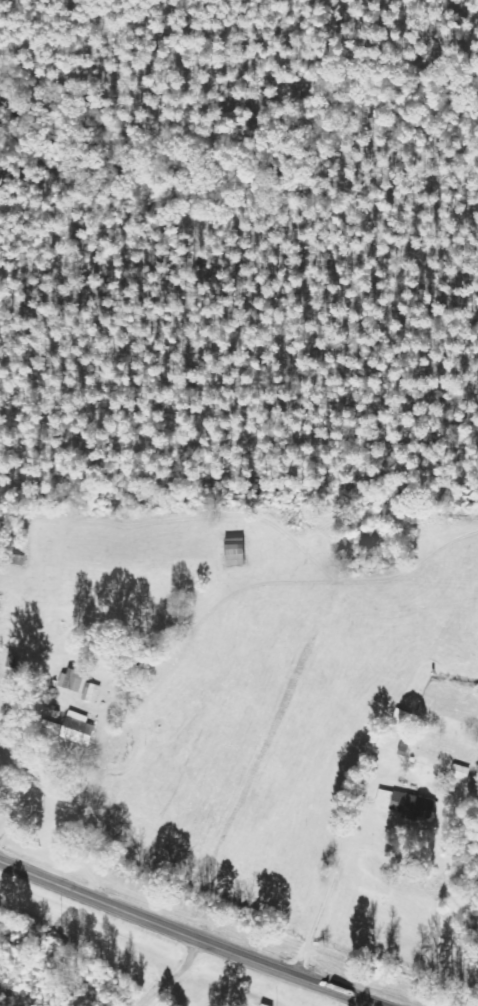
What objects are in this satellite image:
road: (231, 706)
building: (401, 719)
building: (76, 729)
building: (404, 804)
road: (191, 936)
road: (171, 975)

